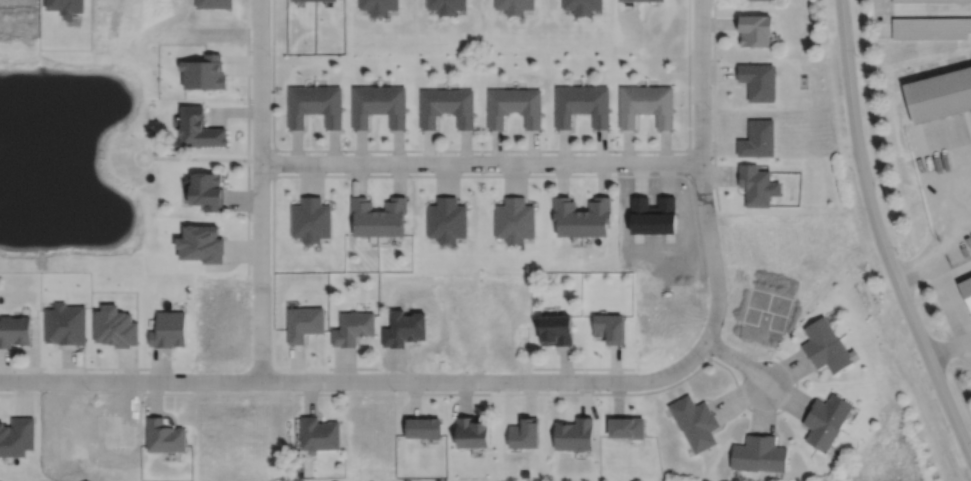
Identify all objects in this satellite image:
building: (329, 0)
building: (305, 1)
building: (631, 1)
building: (655, 1)
building: (759, 1)
building: (215, 4)
building: (380, 6)
building: (446, 6)
building: (514, 6)
building: (583, 6)
road: (921, 8)
building: (932, 28)
building: (756, 31)
road: (713, 53)
building: (206, 72)
building: (759, 81)
building: (940, 92)
building: (301, 103)
building: (330, 103)
building: (365, 103)
building: (394, 103)
building: (632, 103)
building: (661, 103)
building: (432, 105)
building: (461, 105)
building: (499, 105)
building: (528, 105)
building: (567, 105)
building: (597, 105)
building: (200, 126)
road: (248, 136)
road: (482, 149)
building: (143, 155)
road: (199, 157)
road: (481, 161)
road: (701, 171)
road: (444, 175)
road: (714, 182)
building: (758, 183)
building: (207, 189)
road: (260, 189)
building: (365, 215)
building: (394, 215)
building: (567, 215)
building: (597, 215)
building: (312, 218)
building: (446, 218)
building: (514, 218)
road: (879, 234)
building: (202, 242)
road: (934, 260)
road: (957, 294)
road: (273, 307)
building: (305, 321)
building: (65, 322)
building: (115, 325)
building: (354, 326)
building: (609, 326)
building: (169, 328)
building: (15, 329)
building: (556, 329)
building: (819, 335)
road: (950, 348)
building: (836, 356)
road: (737, 360)
road: (85, 367)
road: (582, 367)
road: (359, 380)
road: (167, 392)
road: (318, 392)
road: (644, 392)
building: (833, 409)
building: (689, 410)
building: (426, 427)
building: (627, 427)
building: (472, 431)
building: (821, 431)
building: (524, 432)
building: (702, 432)
building: (320, 433)
building: (574, 434)
building: (165, 435)
building: (747, 453)
building: (772, 454)

